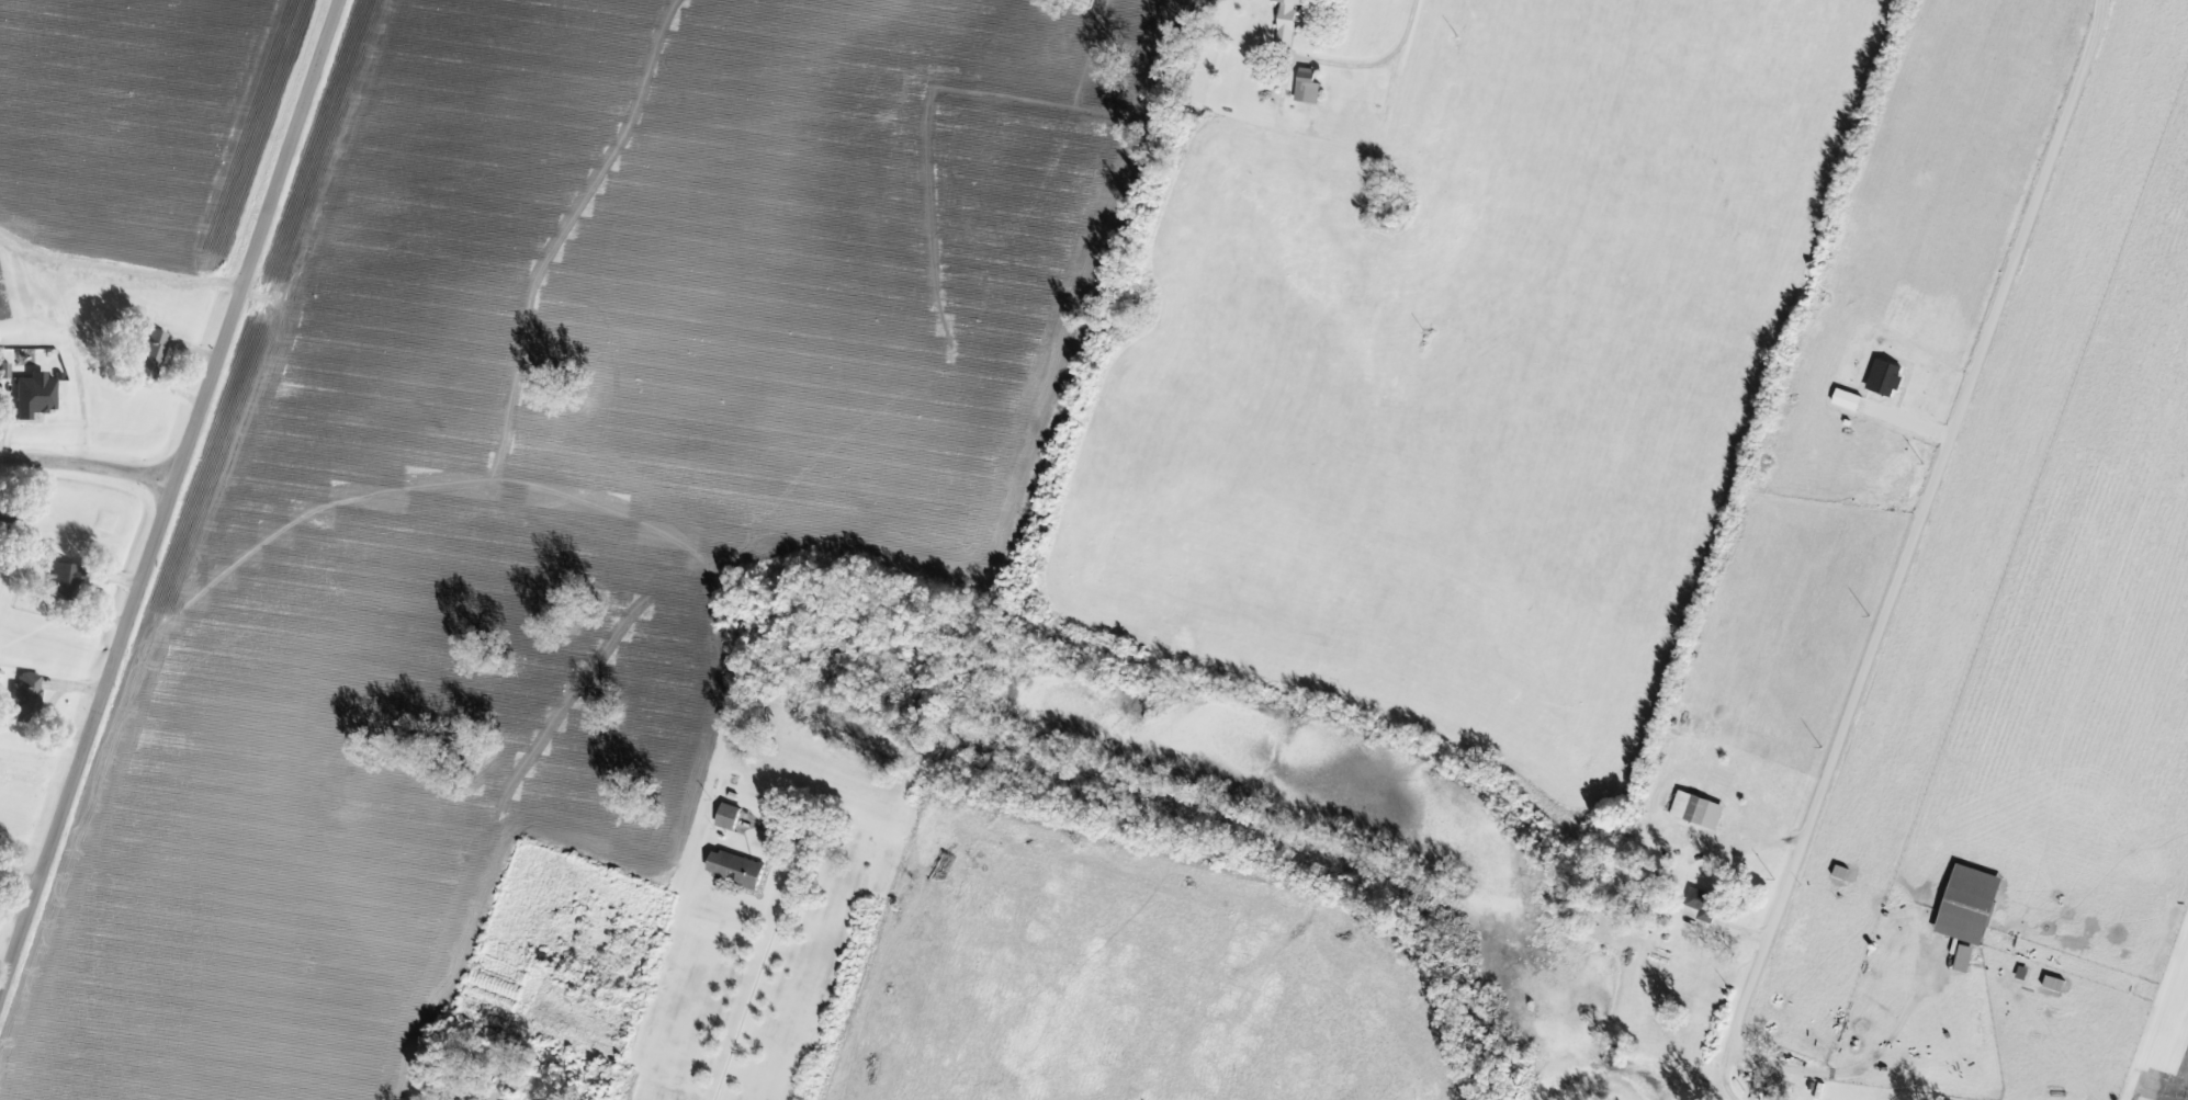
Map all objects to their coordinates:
building: (1289, 22)
road: (1390, 59)
building: (1310, 88)
building: (149, 354)
building: (3, 373)
building: (1887, 378)
building: (34, 395)
road: (87, 463)
road: (168, 492)
road: (1911, 551)
building: (63, 581)
building: (26, 692)
building: (1700, 810)
building: (731, 817)
building: (737, 870)
building: (1703, 906)
building: (1971, 906)
building: (1966, 960)
road: (760, 975)

